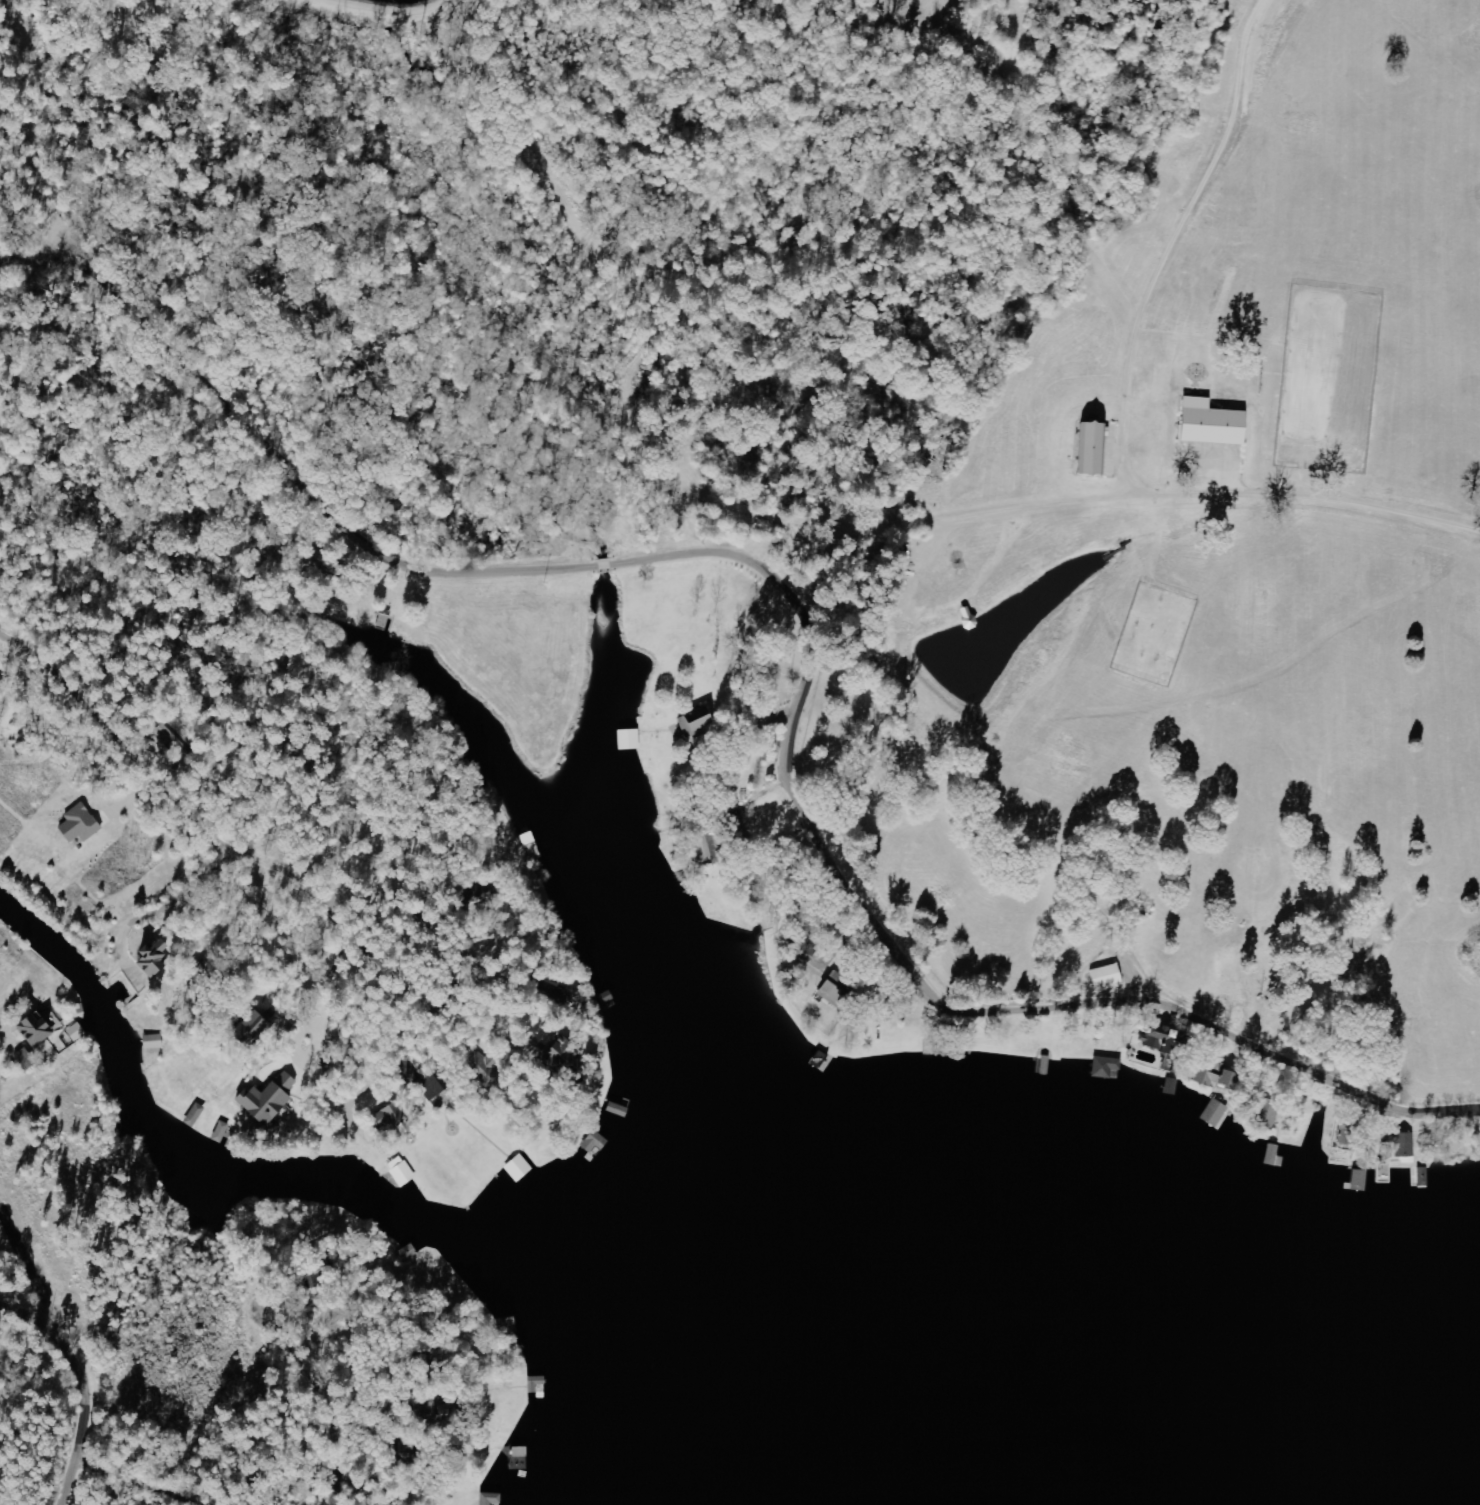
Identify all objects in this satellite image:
road: (34, 302)
building: (1218, 424)
building: (1098, 449)
road: (730, 660)
building: (702, 723)
building: (84, 823)
building: (715, 850)
road: (837, 858)
road: (792, 916)
road: (301, 945)
building: (159, 958)
building: (1104, 976)
building: (42, 1029)
building: (79, 1032)
building: (156, 1042)
building: (1154, 1042)
building: (29, 1059)
building: (1103, 1067)
building: (492, 1068)
building: (1210, 1073)
building: (438, 1085)
building: (273, 1099)
building: (1268, 1113)
building: (198, 1115)
building: (394, 1118)
building: (1404, 1148)
building: (404, 1171)
road: (298, 1335)
road: (74, 1429)
road: (319, 1459)
road: (121, 1497)
building: (494, 1499)

